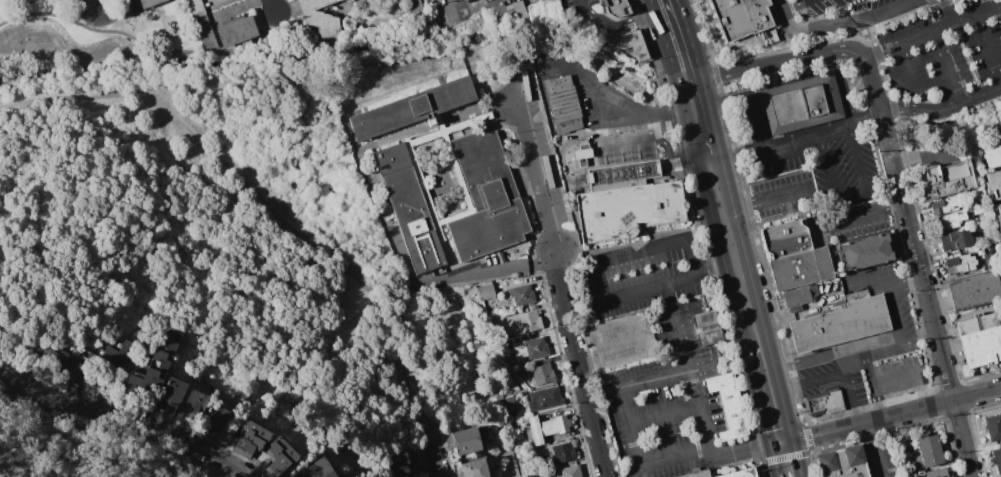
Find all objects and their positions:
building: (534, 0)
building: (149, 3)
parking lot: (576, 3)
road: (833, 3)
road: (101, 4)
road: (581, 4)
road: (940, 4)
road: (797, 5)
parking lot: (817, 5)
road: (273, 6)
building: (415, 6)
building: (616, 7)
parking lot: (892, 7)
building: (196, 8)
road: (459, 8)
building: (542, 8)
road: (680, 8)
building: (509, 10)
road: (841, 12)
road: (945, 13)
road: (116, 17)
building: (320, 18)
building: (744, 18)
road: (891, 19)
road: (861, 21)
road: (618, 22)
road: (841, 24)
road: (280, 30)
road: (662, 30)
building: (205, 31)
building: (237, 31)
road: (932, 34)
road: (691, 37)
road: (549, 44)
building: (632, 44)
park: (91, 47)
road: (989, 47)
parking lot: (944, 50)
road: (230, 52)
road: (812, 54)
road: (952, 68)
road: (908, 69)
road: (819, 76)
road: (885, 80)
road: (586, 84)
building: (564, 104)
building: (802, 104)
road: (709, 105)
building: (412, 108)
road: (686, 109)
road: (941, 109)
road: (699, 113)
road: (653, 121)
road: (757, 121)
road: (942, 124)
road: (802, 137)
road: (655, 138)
road: (198, 139)
road: (567, 144)
building: (583, 153)
parking lot: (813, 153)
building: (992, 154)
road: (722, 155)
road: (699, 161)
road: (681, 162)
road: (711, 162)
road: (661, 167)
road: (536, 170)
road: (622, 173)
building: (621, 175)
building: (947, 180)
road: (189, 184)
building: (994, 185)
parking lot: (786, 196)
road: (852, 196)
building: (487, 197)
road: (773, 199)
building: (944, 206)
building: (410, 208)
road: (734, 208)
building: (628, 210)
road: (871, 211)
road: (712, 214)
building: (997, 215)
building: (951, 220)
road: (116, 224)
park: (263, 234)
building: (786, 238)
road: (687, 241)
building: (955, 241)
building: (864, 253)
road: (917, 257)
building: (960, 263)
road: (716, 265)
building: (801, 269)
road: (493, 270)
park: (85, 282)
road: (885, 286)
building: (486, 292)
building: (975, 293)
building: (522, 295)
building: (800, 295)
road: (746, 299)
building: (837, 304)
road: (895, 312)
building: (706, 319)
building: (523, 323)
building: (841, 324)
road: (674, 328)
building: (170, 335)
building: (710, 337)
building: (980, 339)
building: (164, 344)
building: (504, 344)
building: (124, 346)
building: (531, 348)
building: (106, 355)
road: (834, 355)
building: (159, 357)
building: (84, 358)
road: (578, 362)
road: (15, 363)
building: (61, 363)
road: (762, 366)
road: (844, 366)
building: (522, 369)
building: (154, 371)
road: (408, 373)
building: (542, 375)
road: (656, 376)
road: (833, 377)
road: (895, 379)
building: (139, 385)
road: (874, 385)
building: (175, 392)
building: (544, 399)
building: (824, 403)
building: (195, 404)
building: (729, 404)
road: (700, 410)
road: (665, 414)
road: (892, 416)
road: (137, 417)
building: (219, 418)
road: (776, 418)
building: (543, 423)
road: (631, 425)
building: (993, 428)
building: (546, 434)
road: (962, 438)
building: (247, 439)
building: (467, 441)
traffic signals: (783, 444)
park: (85, 447)
road: (876, 449)
building: (930, 450)
road: (747, 451)
road: (784, 451)
building: (563, 453)
building: (278, 457)
road: (435, 458)
road: (669, 458)
parking lot: (882, 458)
building: (997, 458)
building: (399, 463)
building: (845, 463)
building: (910, 466)
building: (313, 468)
building: (475, 468)
road: (788, 468)
building: (571, 471)
building: (740, 473)
building: (936, 473)
building: (328, 474)
building: (697, 474)

